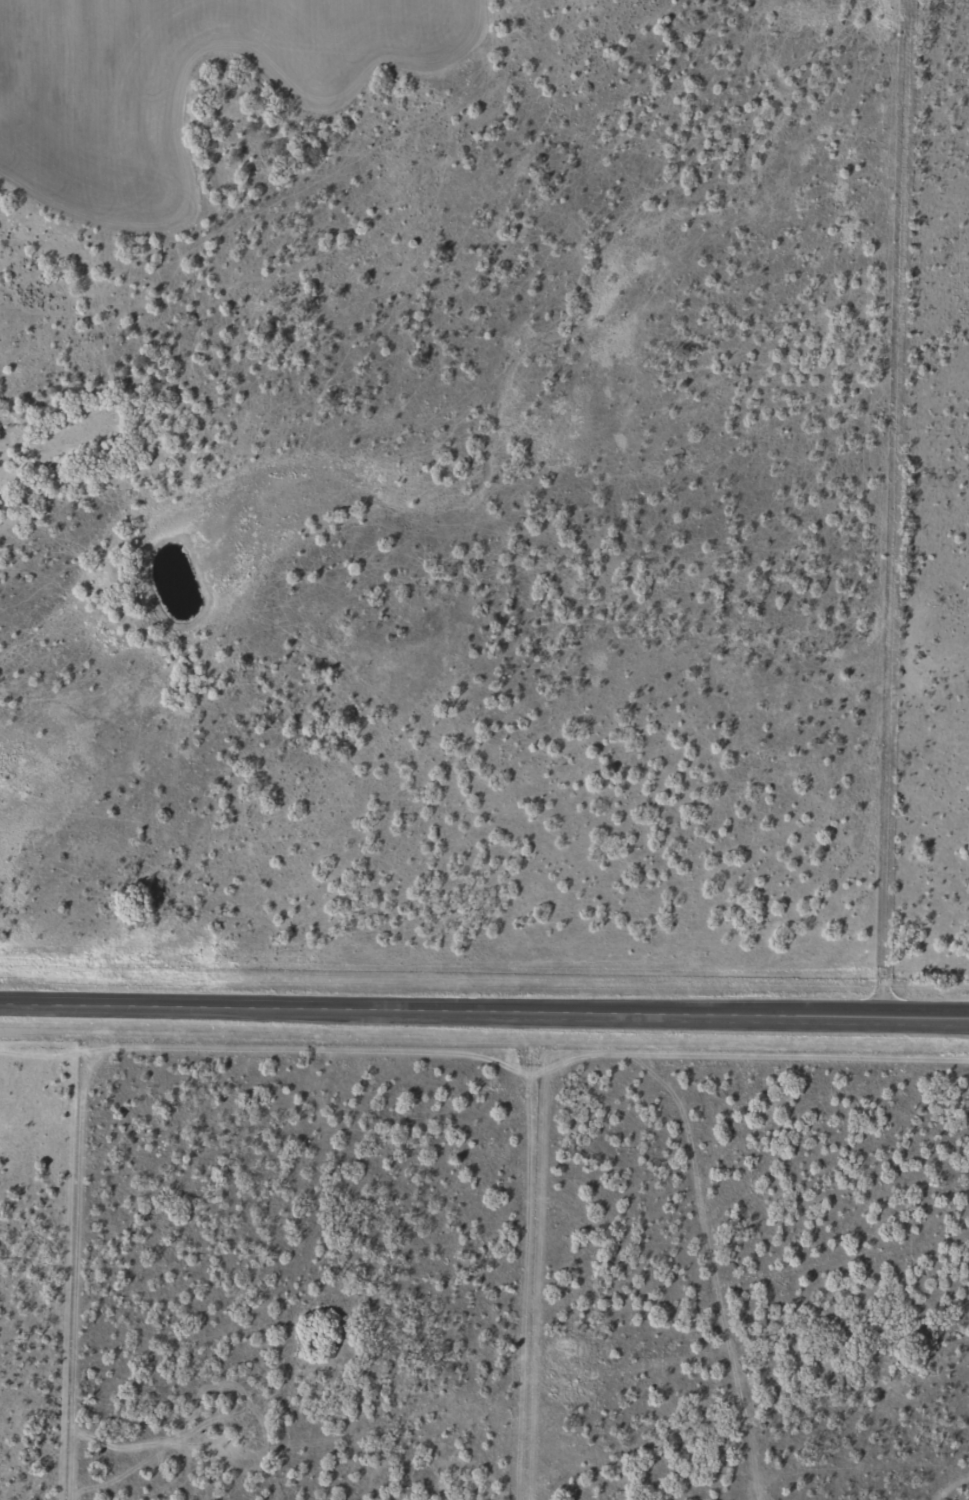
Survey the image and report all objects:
road: (907, 511)
road: (484, 1014)
road: (332, 1255)

